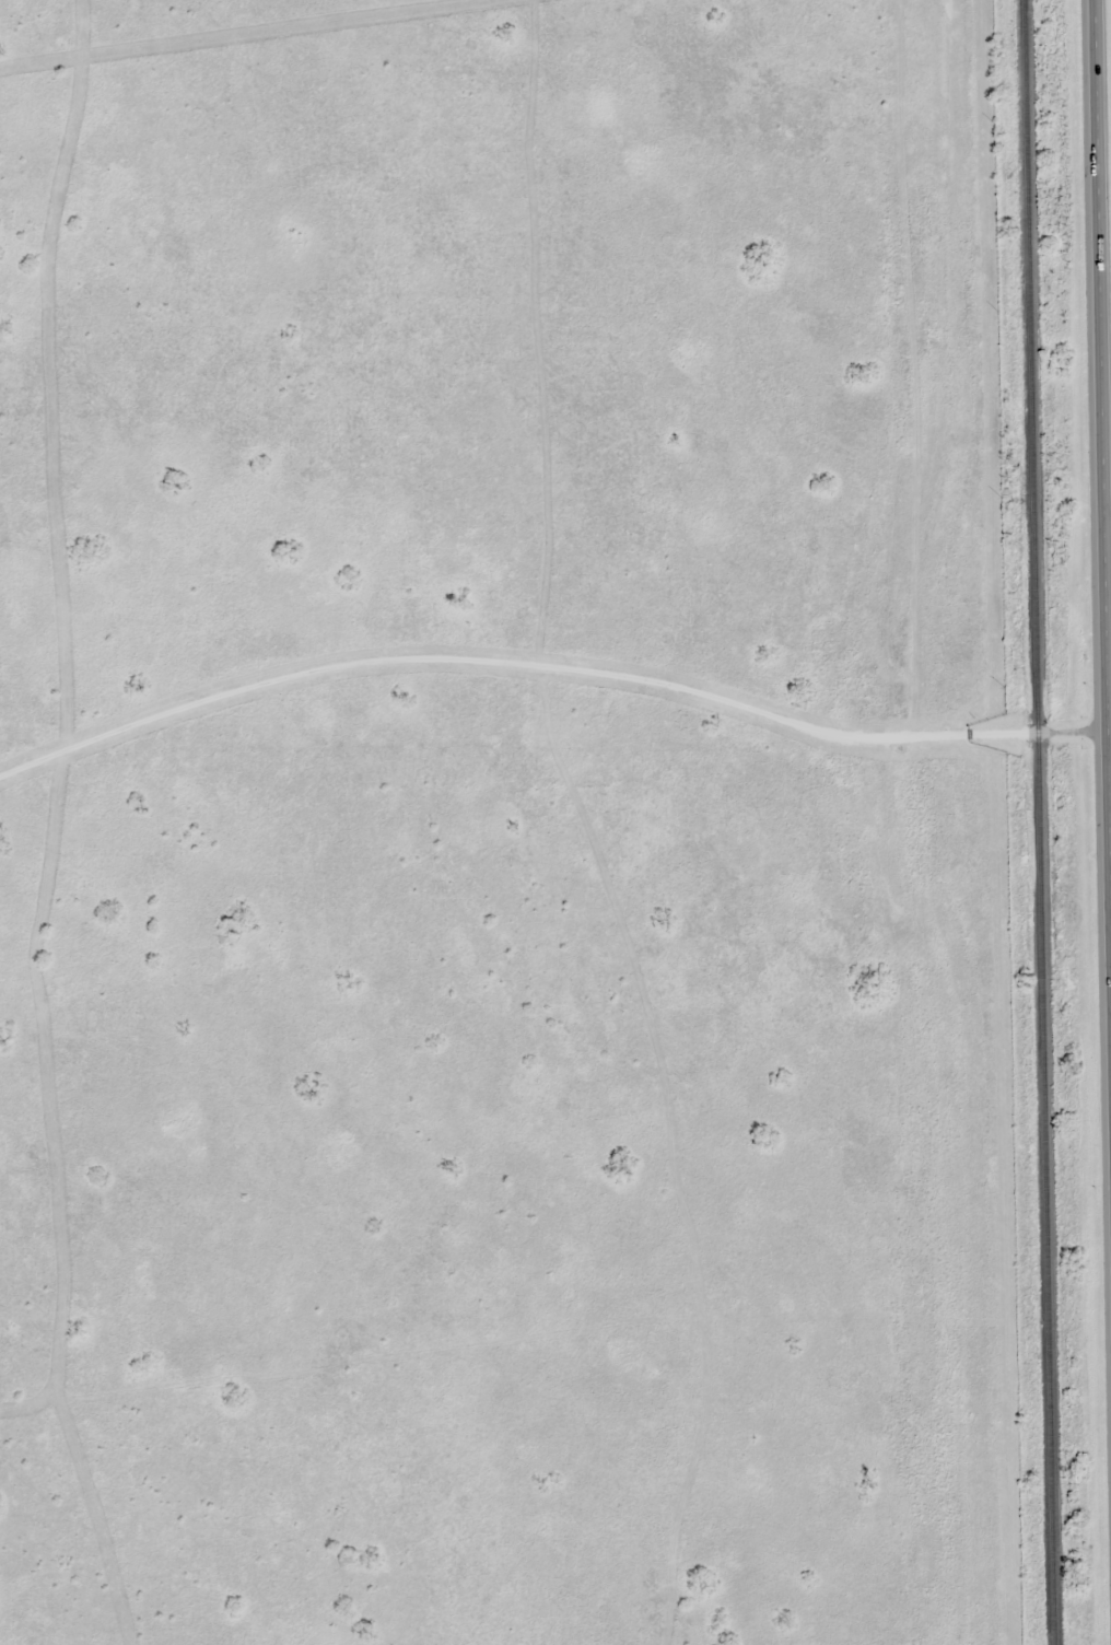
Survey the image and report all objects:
road: (1101, 530)
road: (1107, 728)
railway: (1043, 822)

